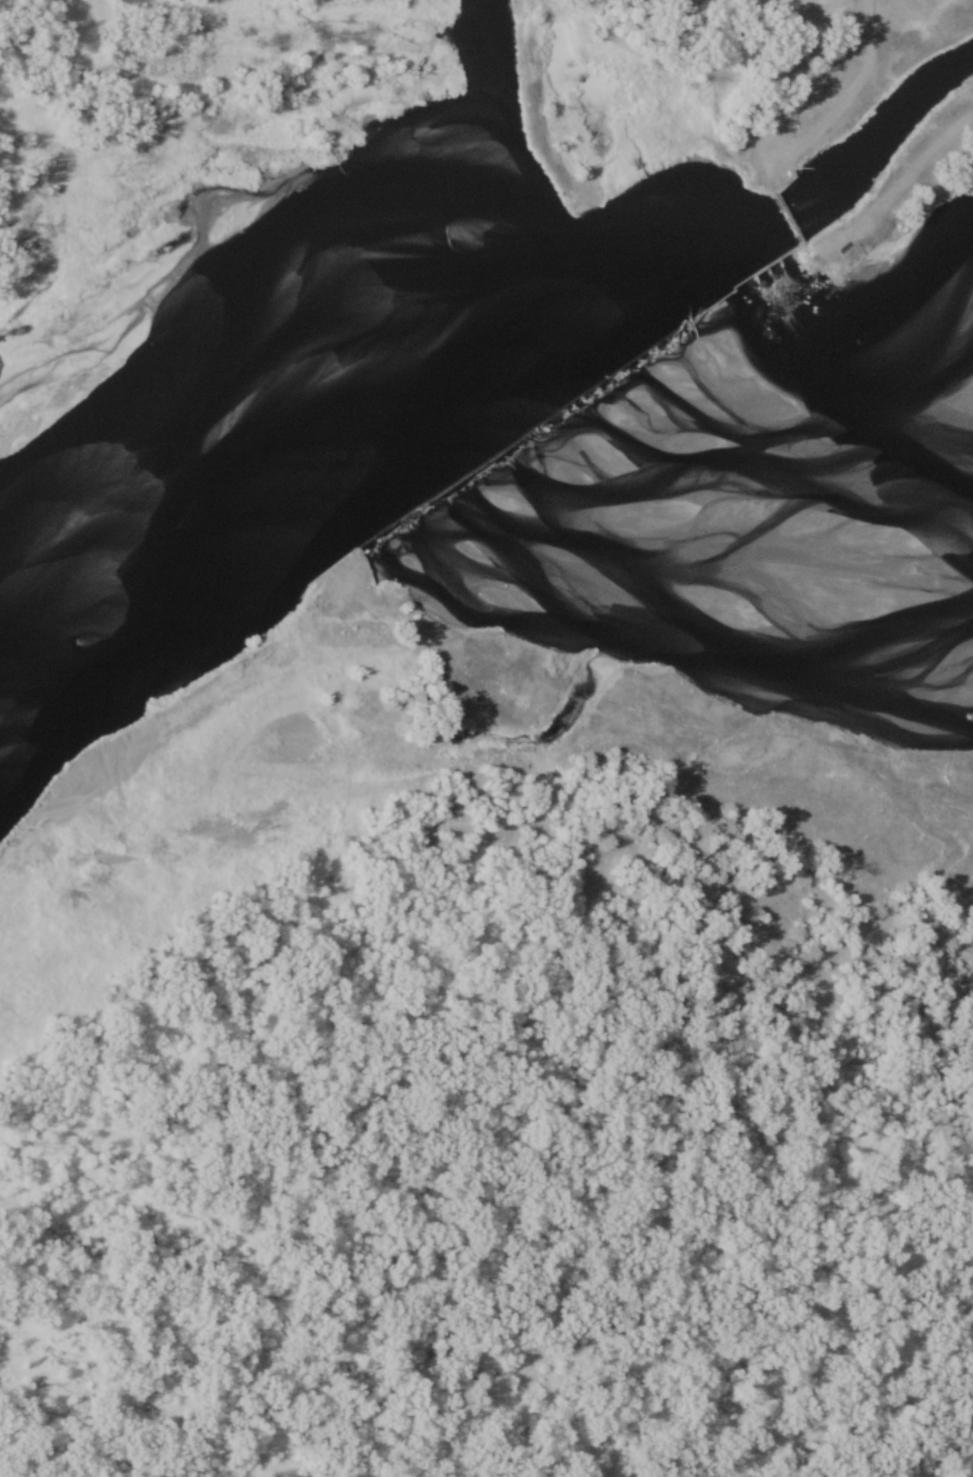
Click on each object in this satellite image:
road: (787, 19)
road: (844, 98)
road: (909, 174)
river: (437, 285)

